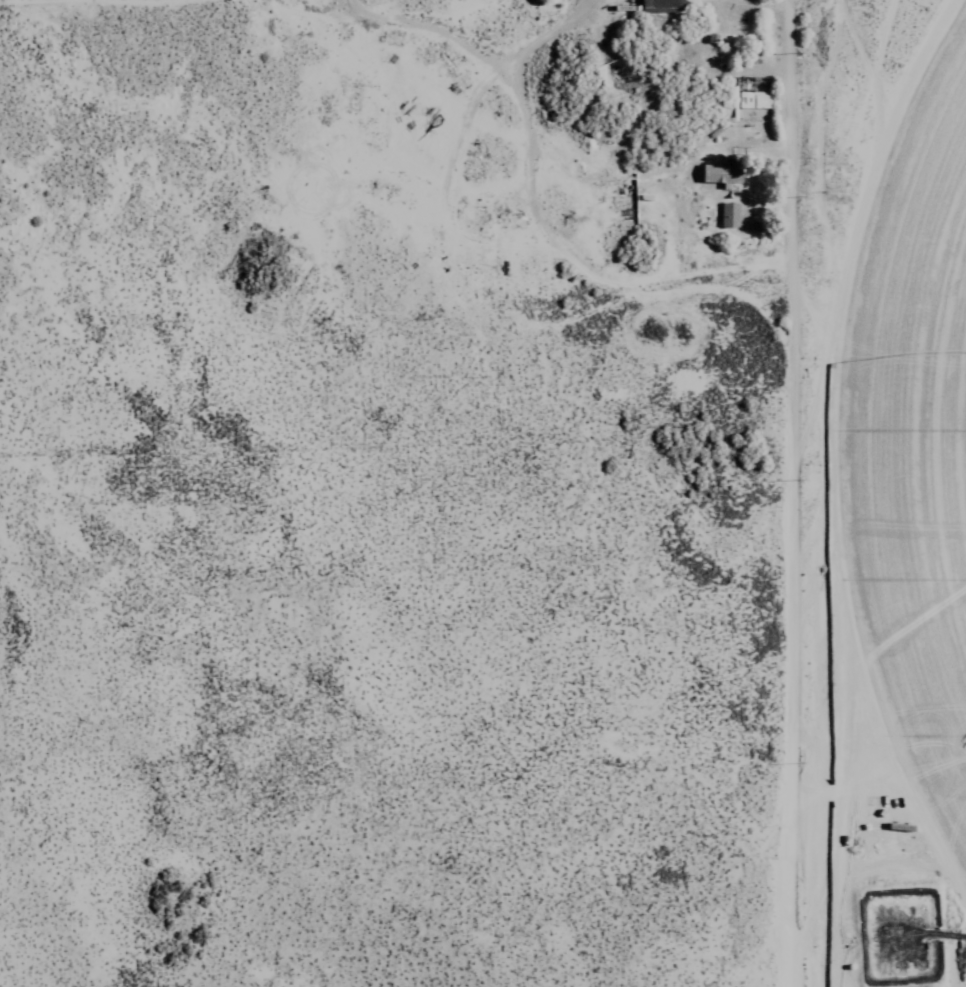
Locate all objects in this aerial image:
building: (660, 5)
building: (724, 173)
building: (731, 214)
crop: (920, 468)
road: (784, 493)

